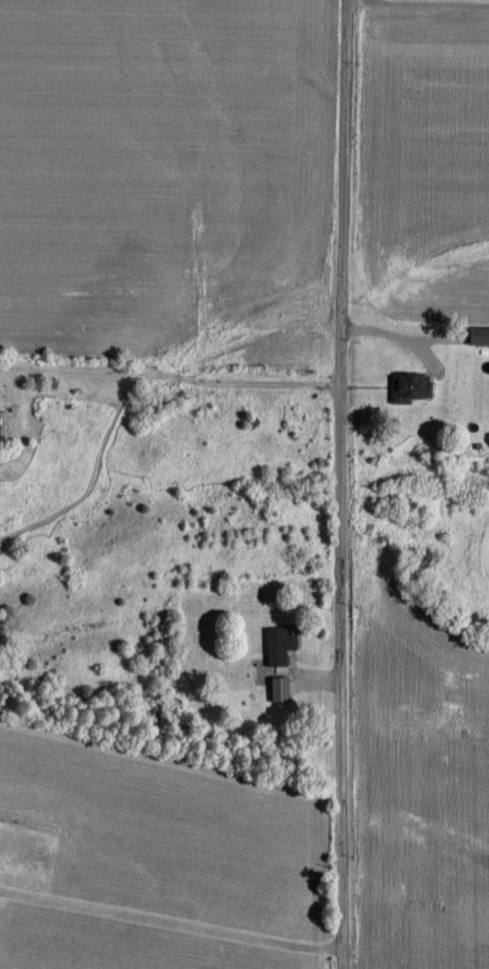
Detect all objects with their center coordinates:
building: (480, 334)
road: (160, 373)
building: (411, 386)
building: (3, 427)
road: (323, 484)
building: (280, 643)
building: (281, 687)
road: (169, 920)

